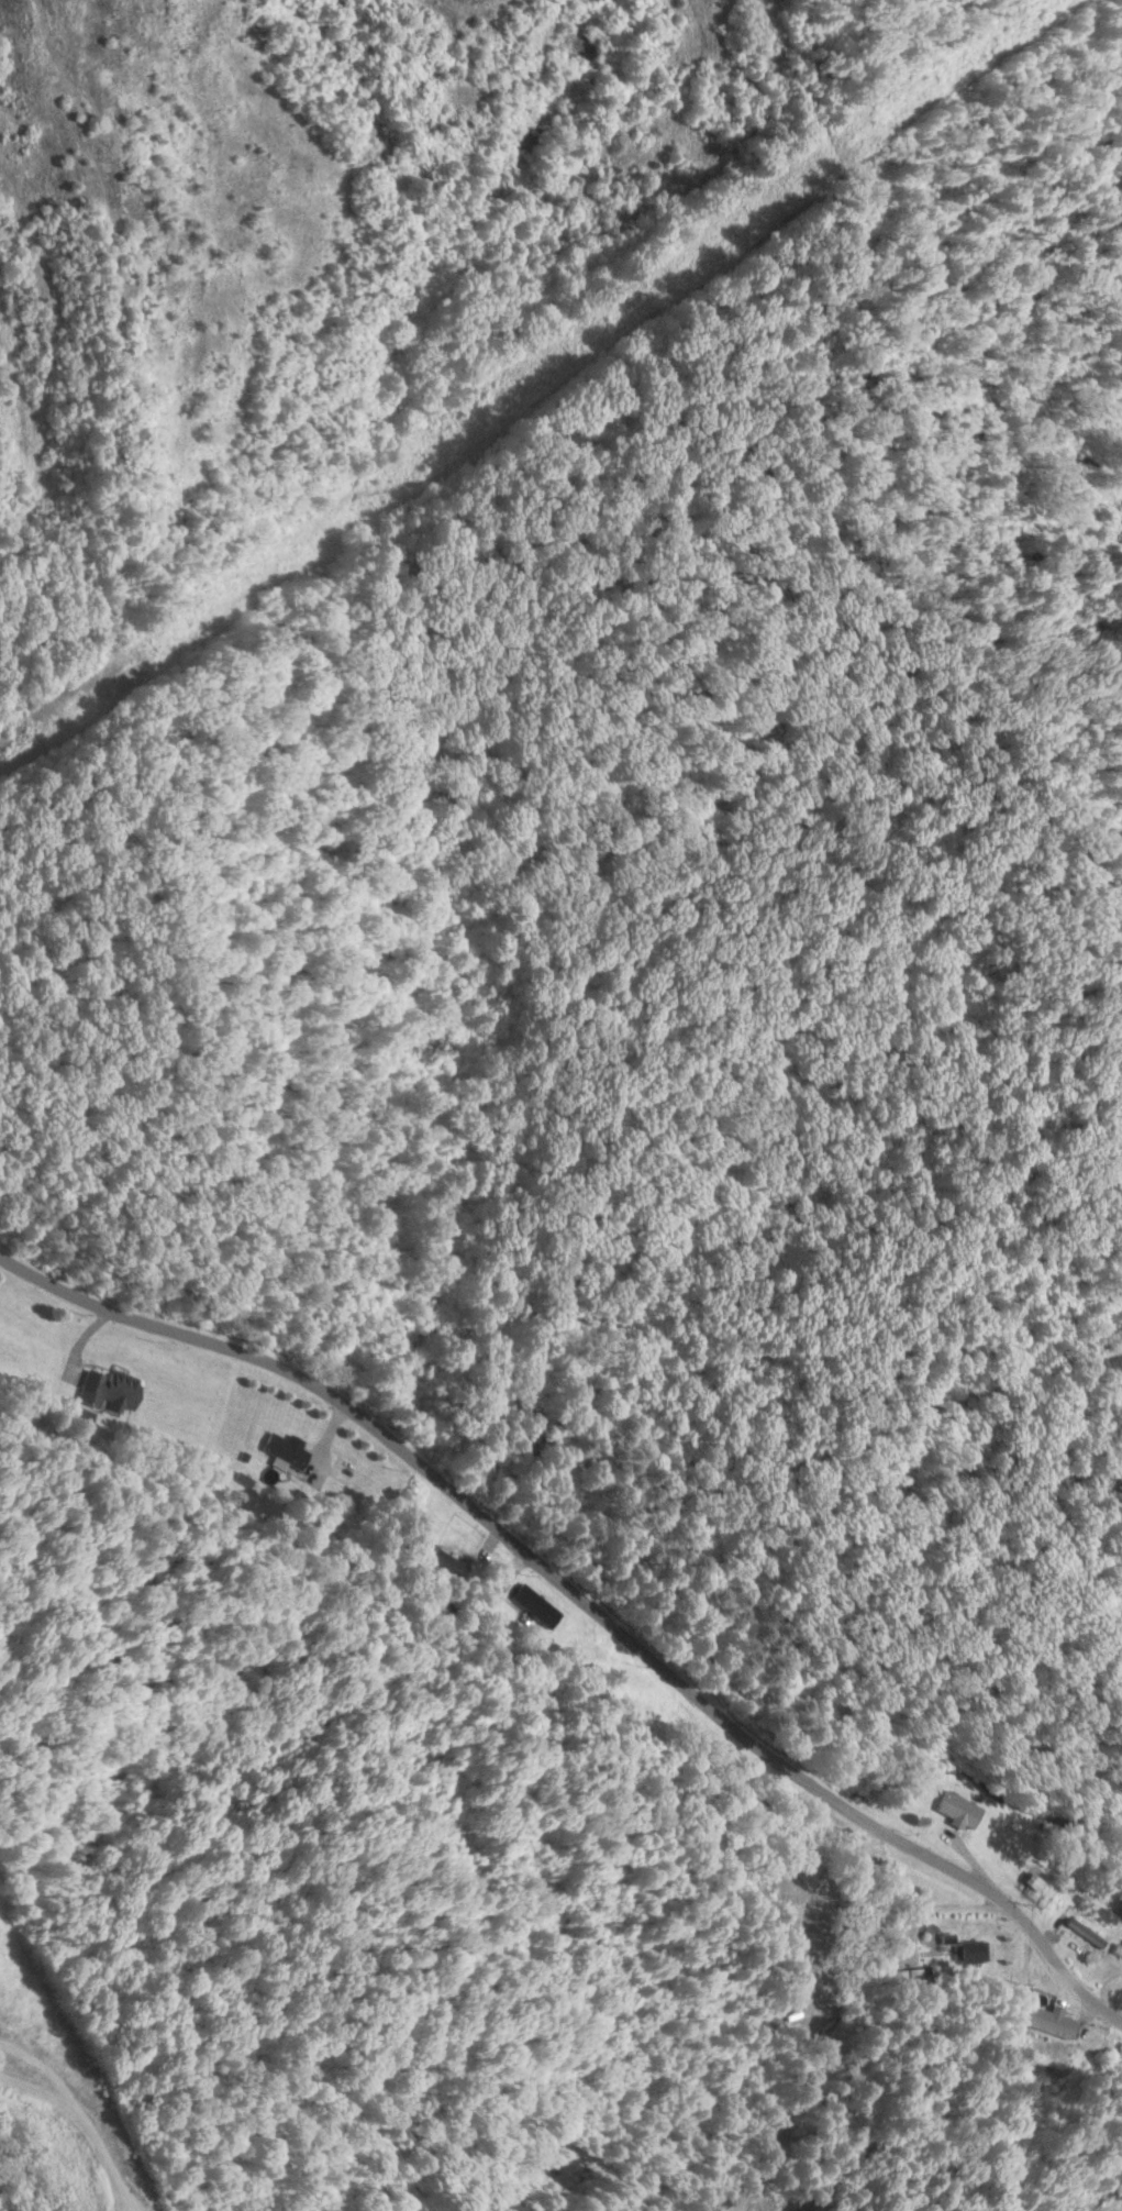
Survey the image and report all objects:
road: (529, 1552)
building: (958, 1812)
building: (1102, 1914)
road: (1035, 1932)
building: (1086, 1934)
building: (969, 1954)

